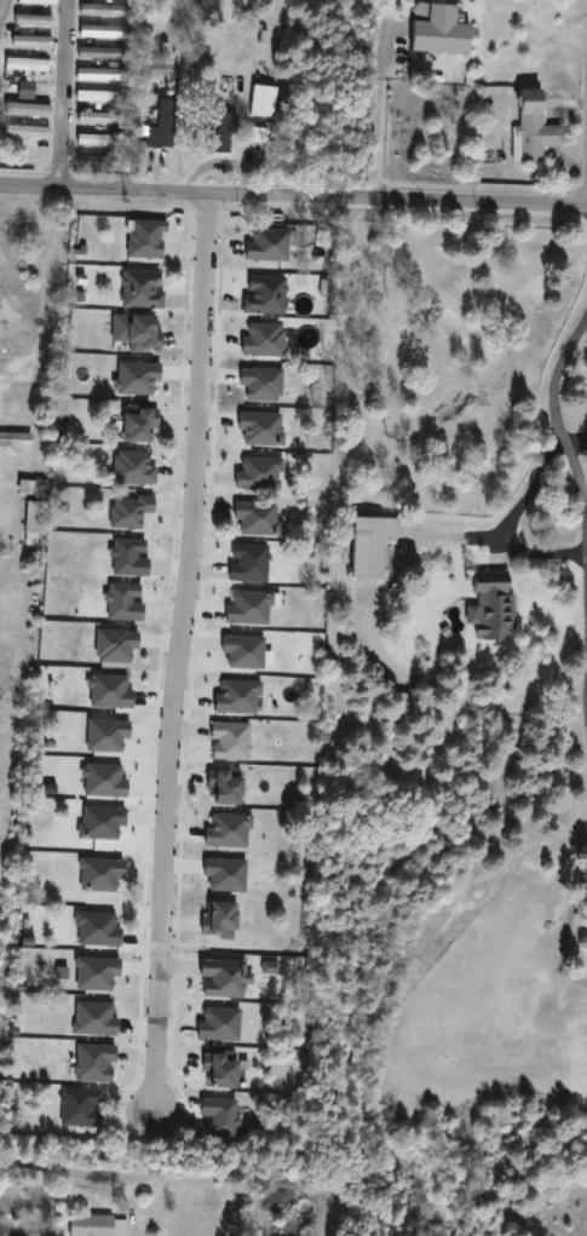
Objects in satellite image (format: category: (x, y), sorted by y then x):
building: (35, 1)
building: (102, 10)
road: (4, 13)
building: (30, 19)
building: (90, 30)
building: (30, 41)
building: (99, 52)
building: (24, 64)
building: (98, 74)
building: (24, 90)
road: (70, 92)
building: (94, 96)
road: (396, 98)
building: (260, 100)
building: (93, 117)
building: (162, 126)
building: (530, 128)
building: (217, 132)
building: (94, 139)
building: (92, 162)
road: (293, 191)
road: (574, 436)
building: (15, 439)
road: (566, 468)
building: (33, 510)
road: (508, 518)
building: (370, 544)
road: (536, 550)
building: (491, 604)
road: (177, 646)
road: (460, 696)
building: (398, 702)
road: (564, 930)
road: (63, 1173)
building: (96, 1225)
building: (305, 1232)

